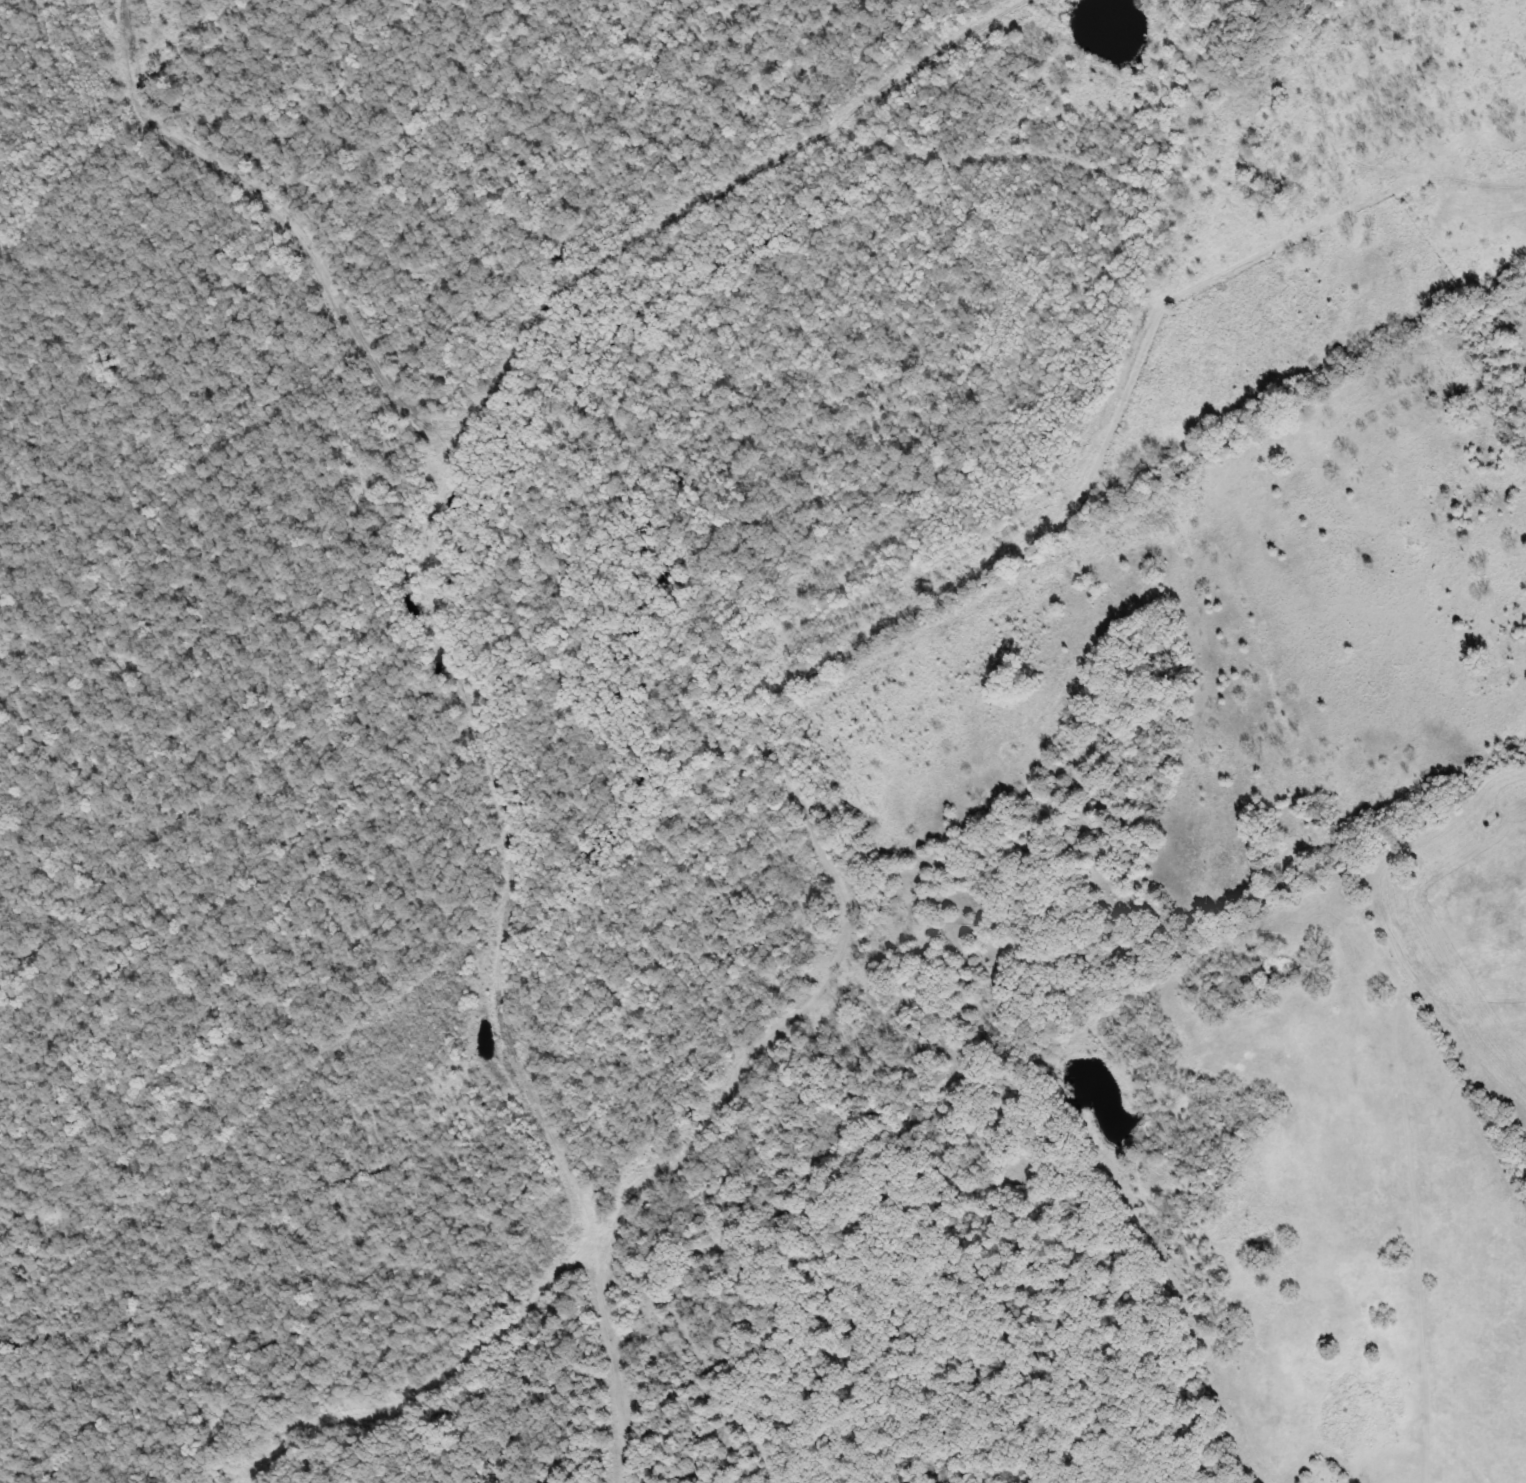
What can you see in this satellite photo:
road: (1424, 1414)

